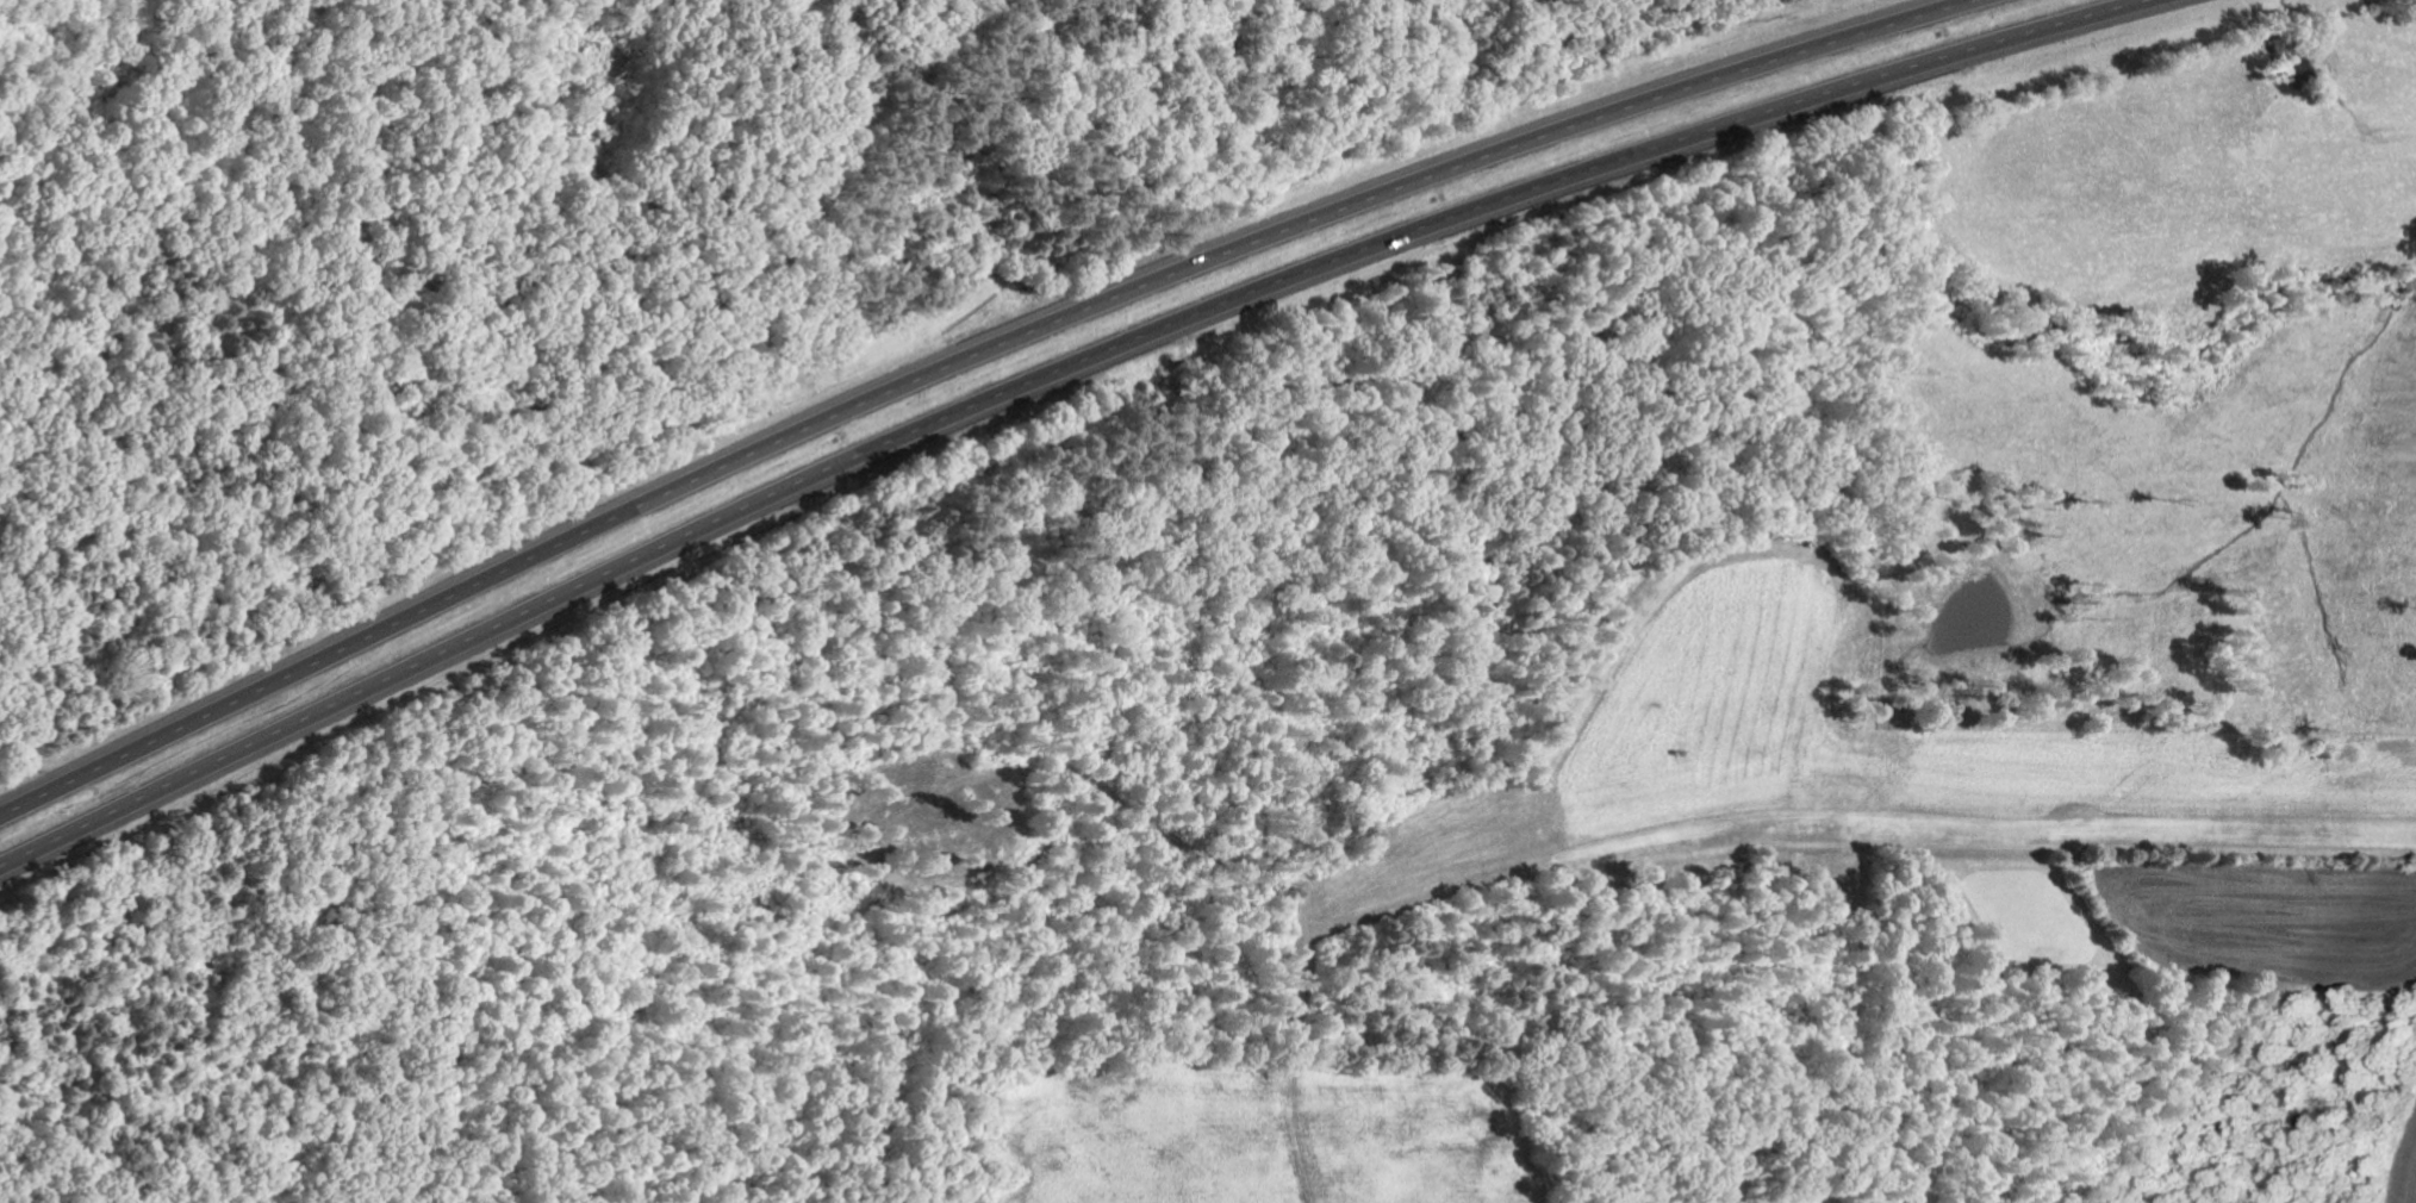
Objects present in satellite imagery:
road: (957, 356)
road: (1054, 373)

